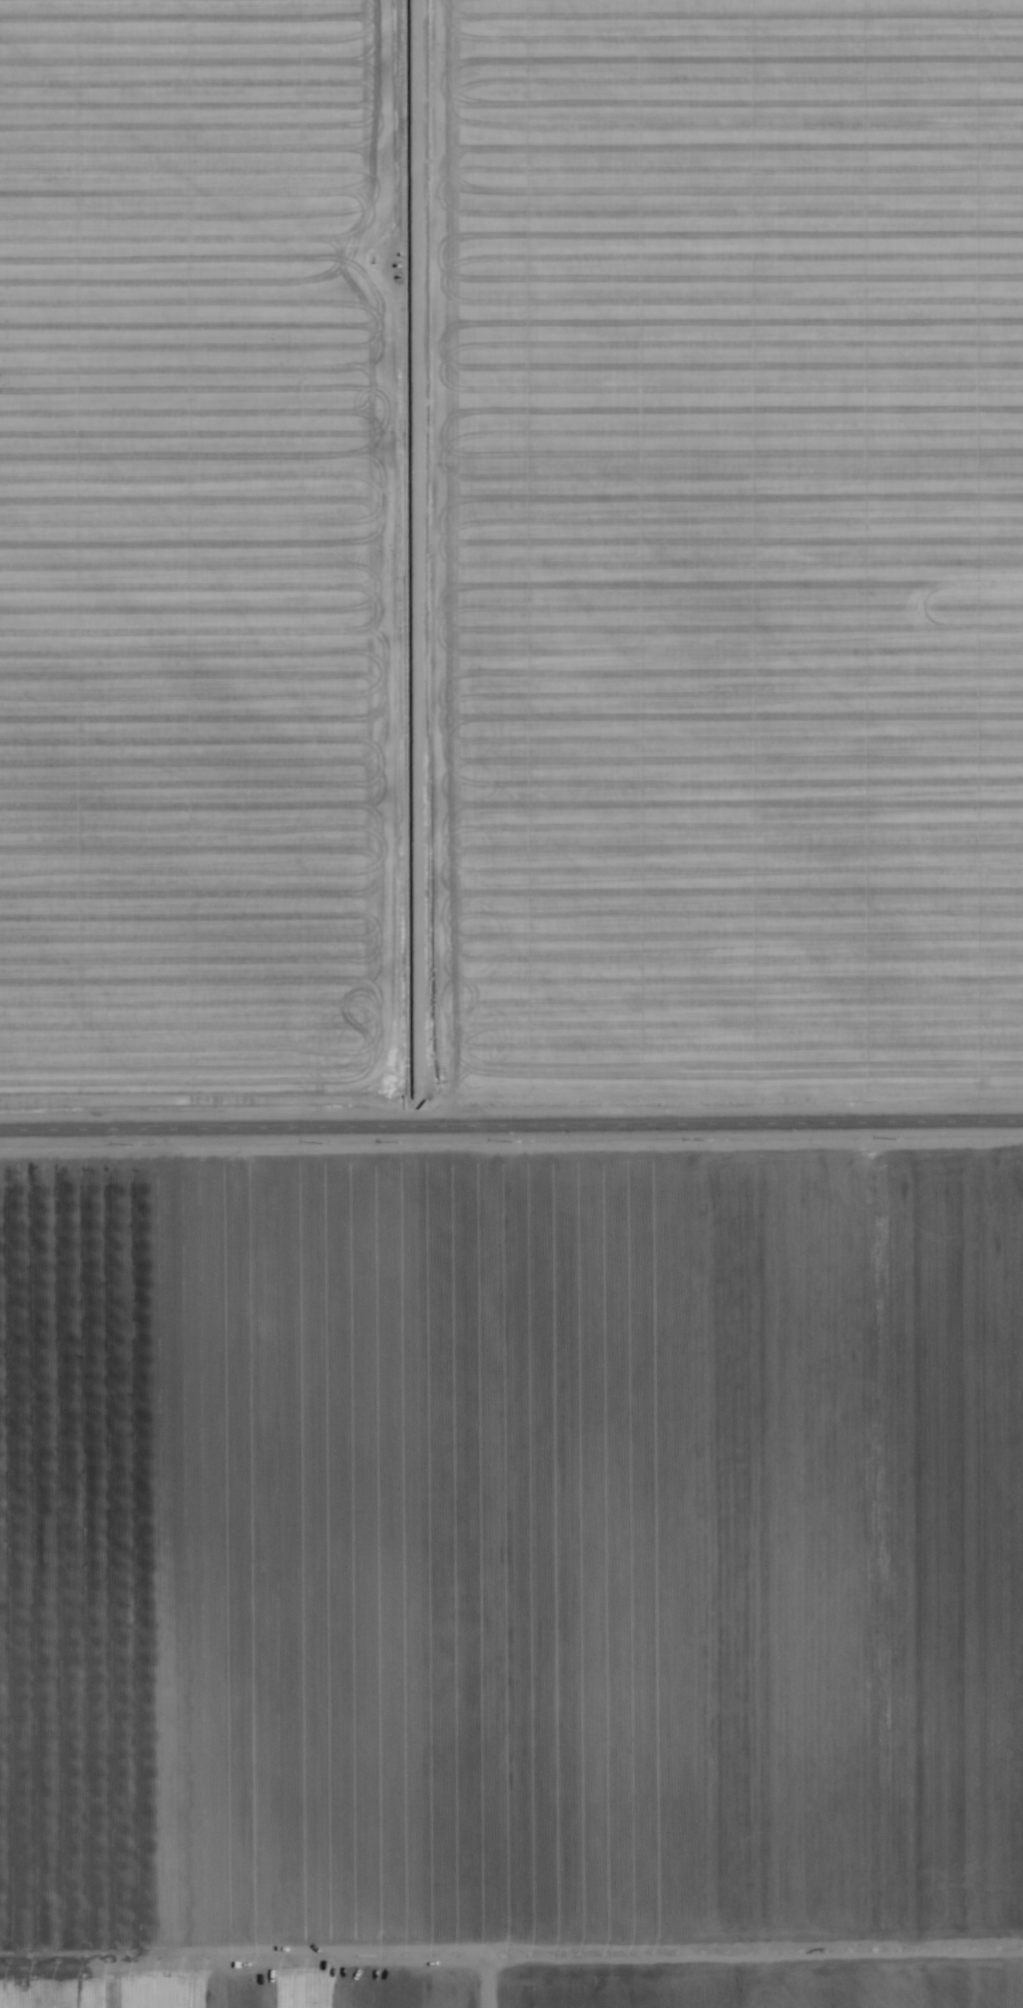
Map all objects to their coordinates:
crop: (511, 1004)
road: (511, 1112)

